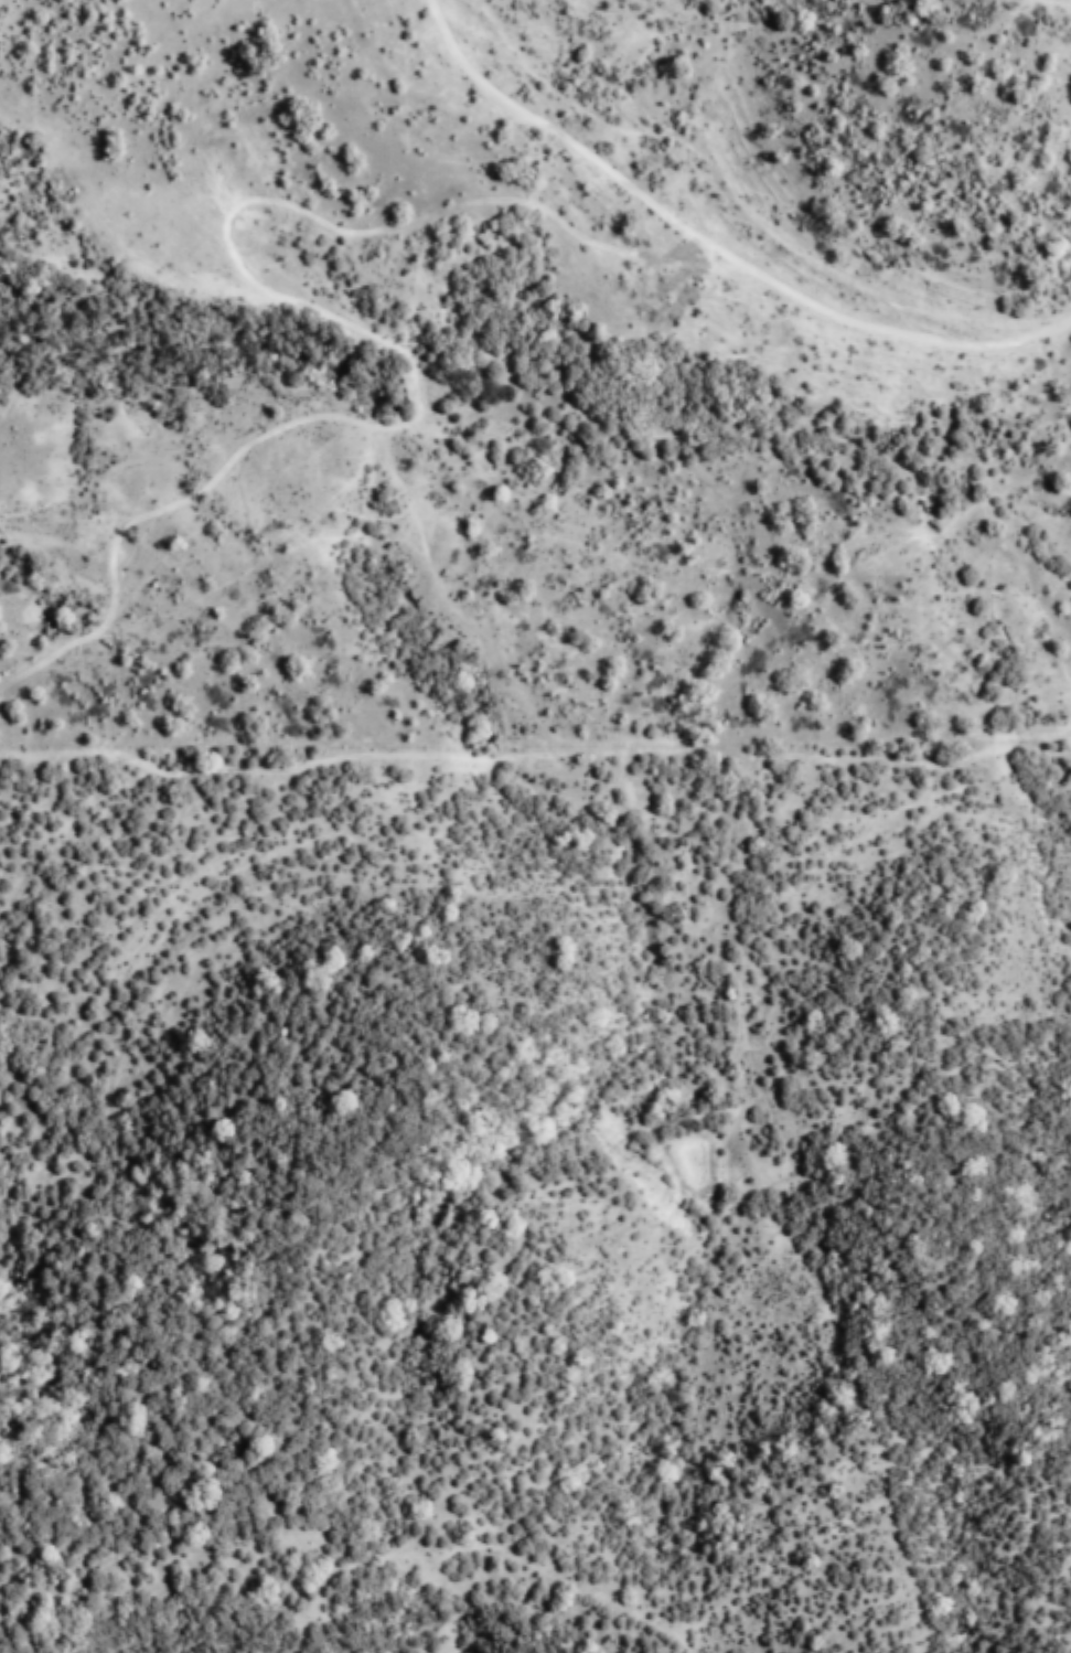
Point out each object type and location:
road: (718, 243)

